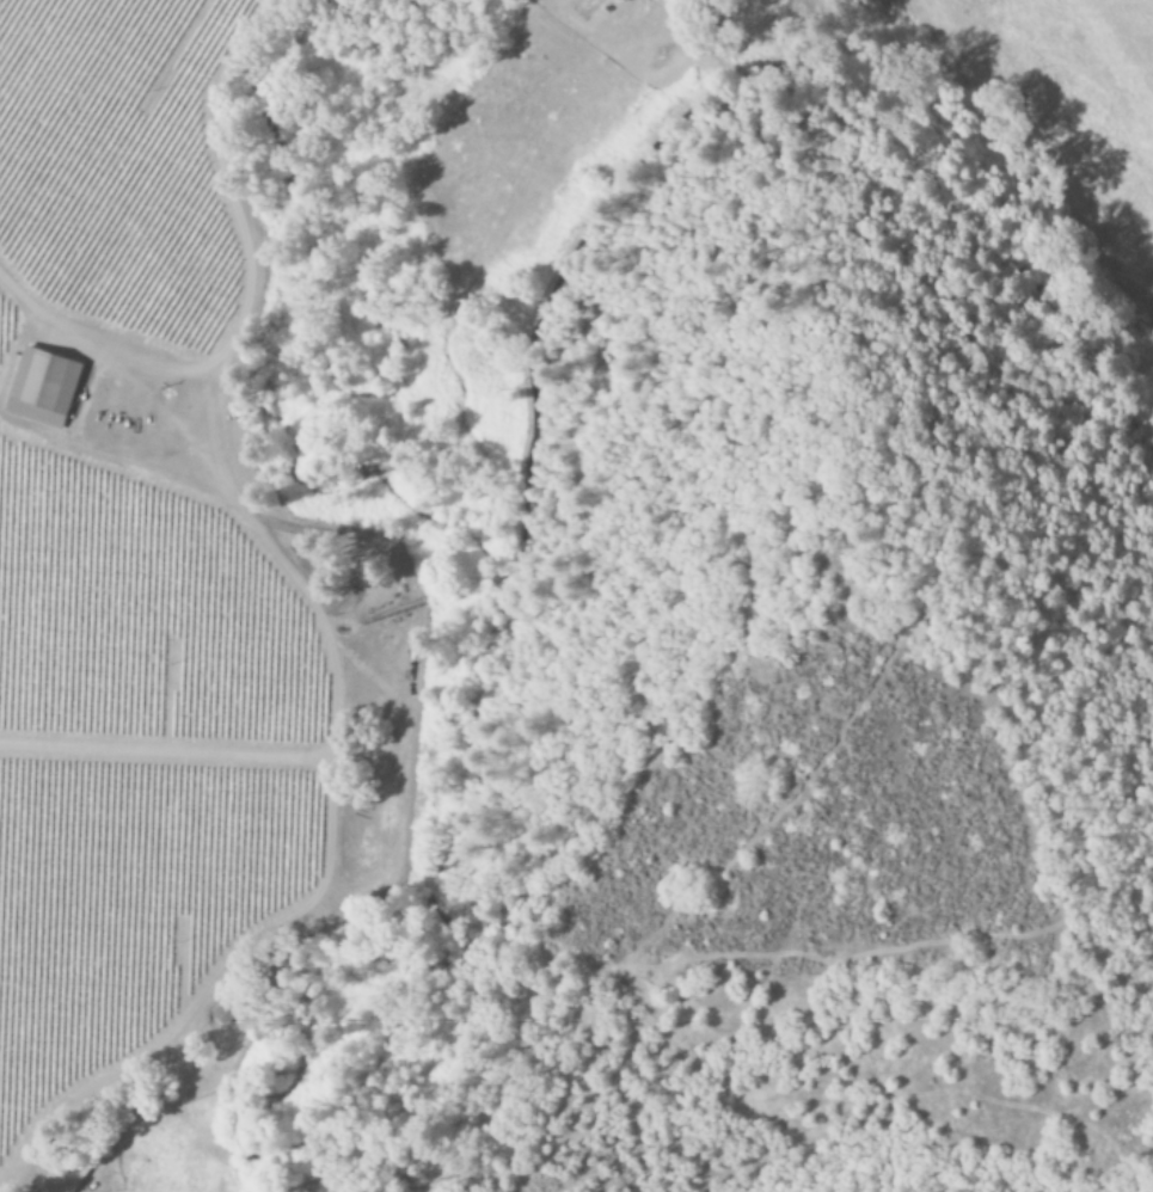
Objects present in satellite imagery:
building: (39, 388)
building: (223, 1014)

